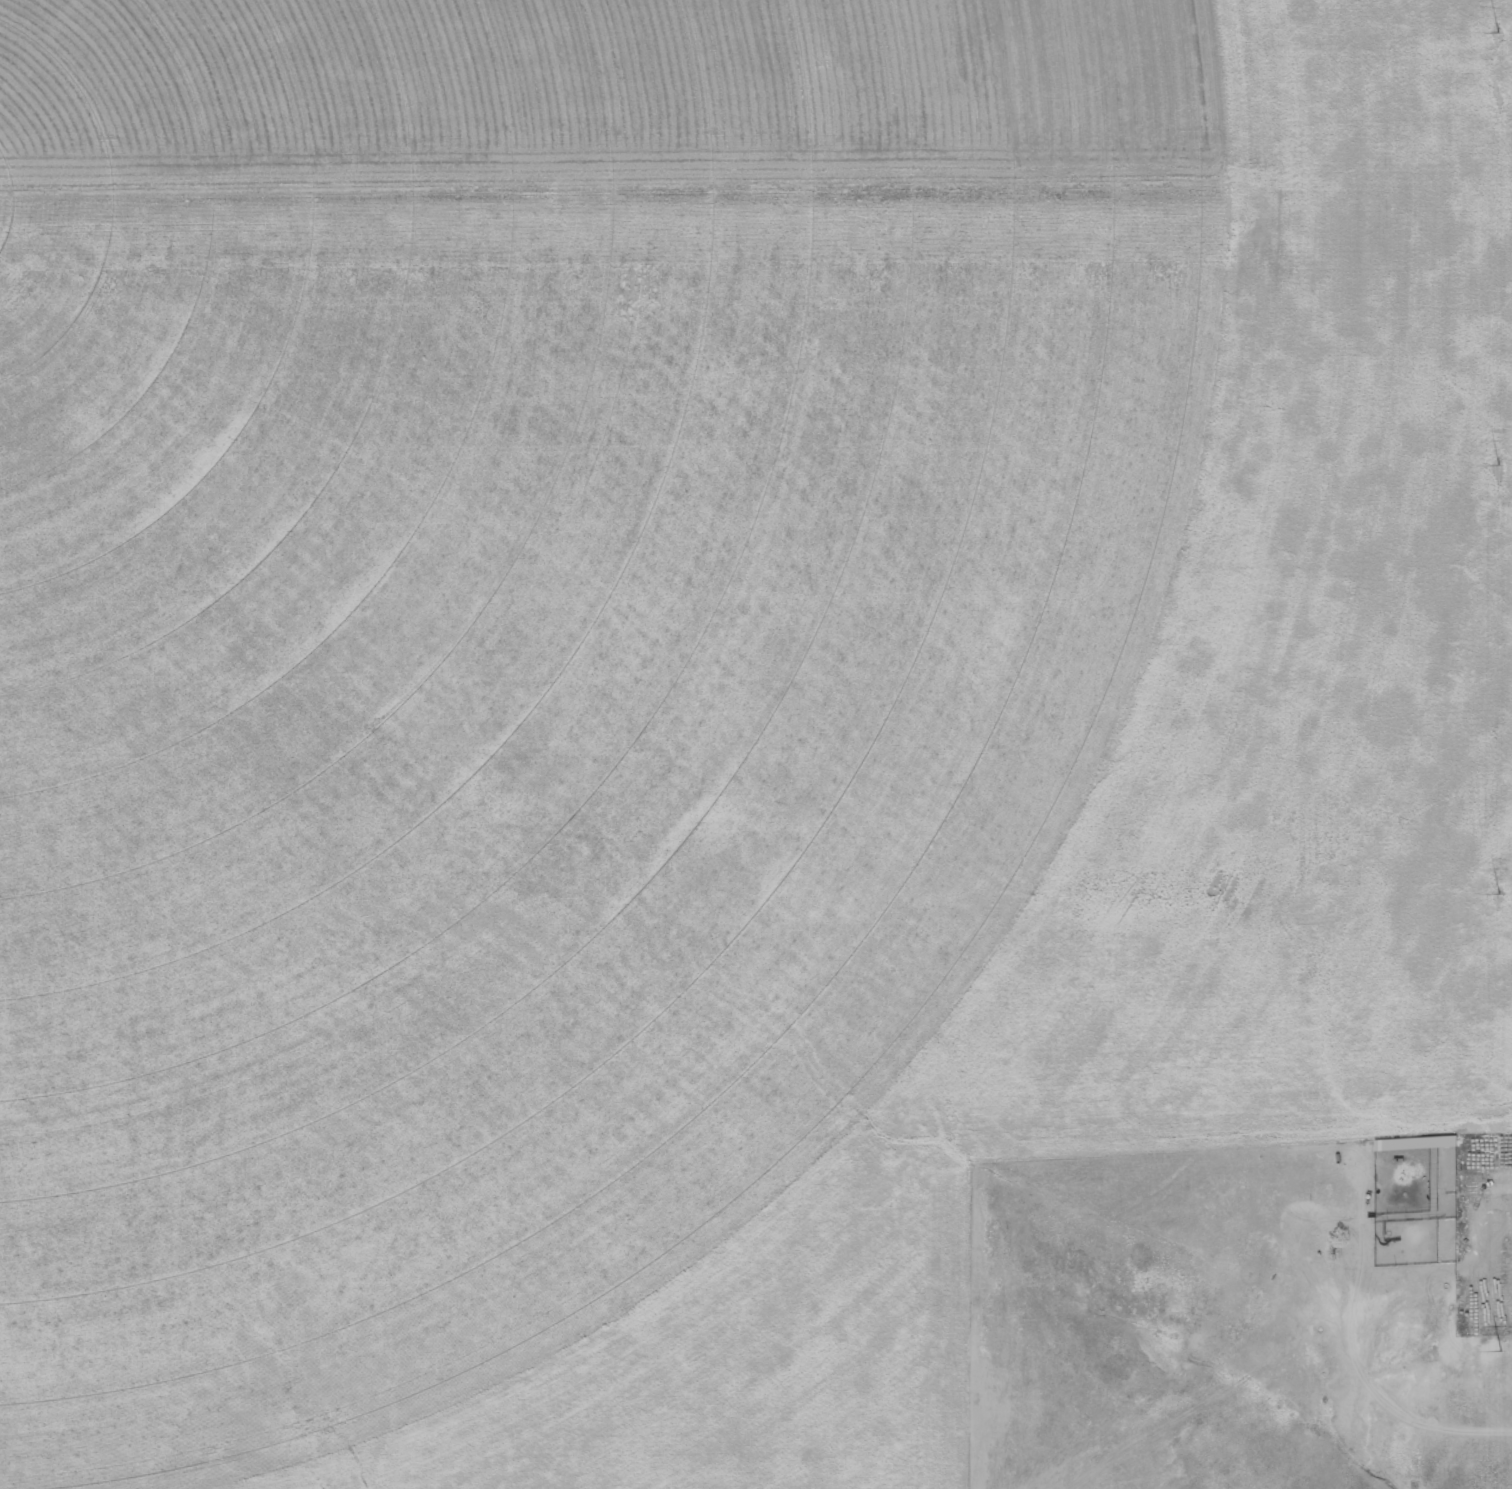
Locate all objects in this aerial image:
power tower: (1497, 32)
power tower: (1498, 467)
power tower: (1496, 894)
power tower: (1499, 1350)

